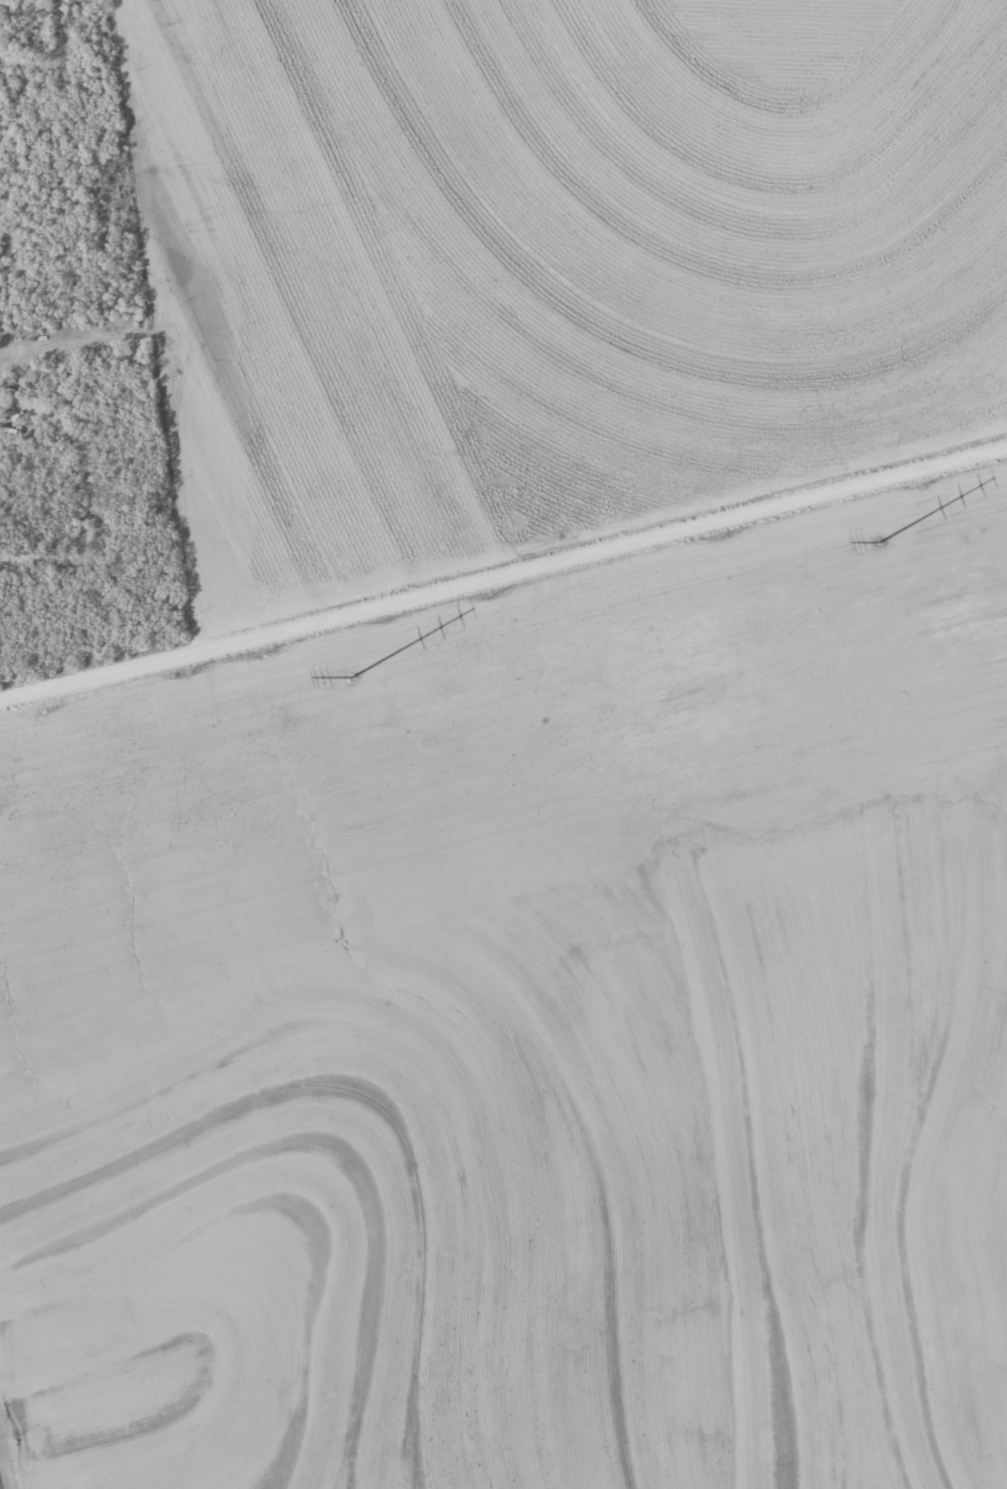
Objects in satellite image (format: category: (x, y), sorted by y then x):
road: (11, 4)
power tower: (880, 542)
road: (503, 583)
power tower: (352, 678)

